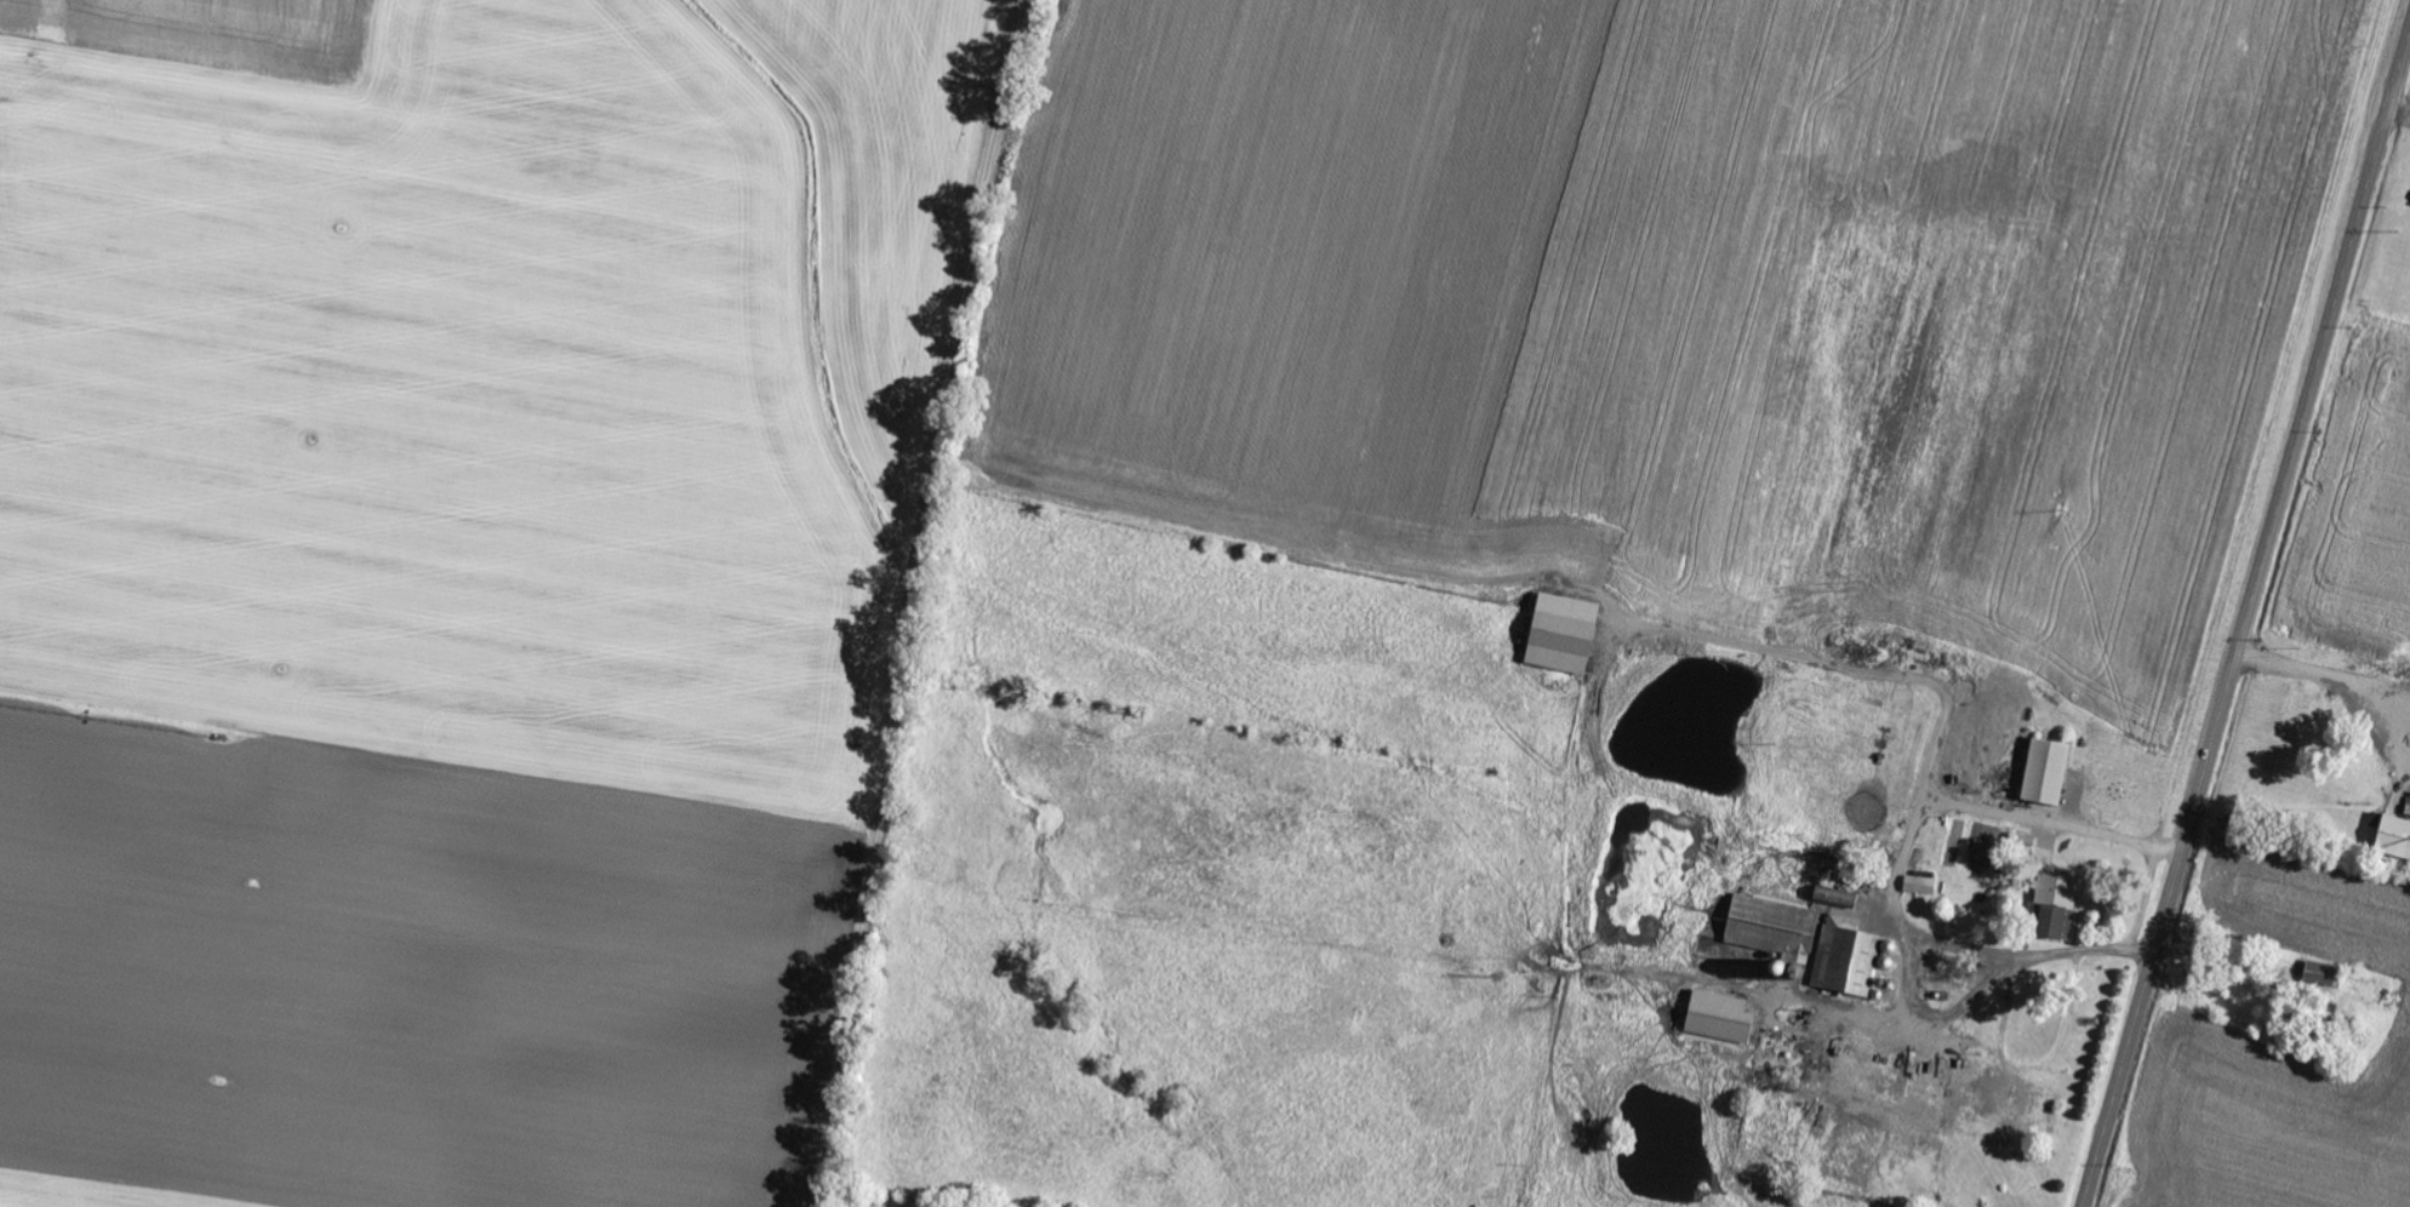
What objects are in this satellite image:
road: (2245, 620)
building: (1558, 634)
building: (2044, 773)
building: (2391, 839)
building: (1918, 886)
building: (1831, 899)
building: (2051, 908)
building: (1843, 957)
building: (2318, 974)
building: (1715, 1018)
building: (2032, 1109)

